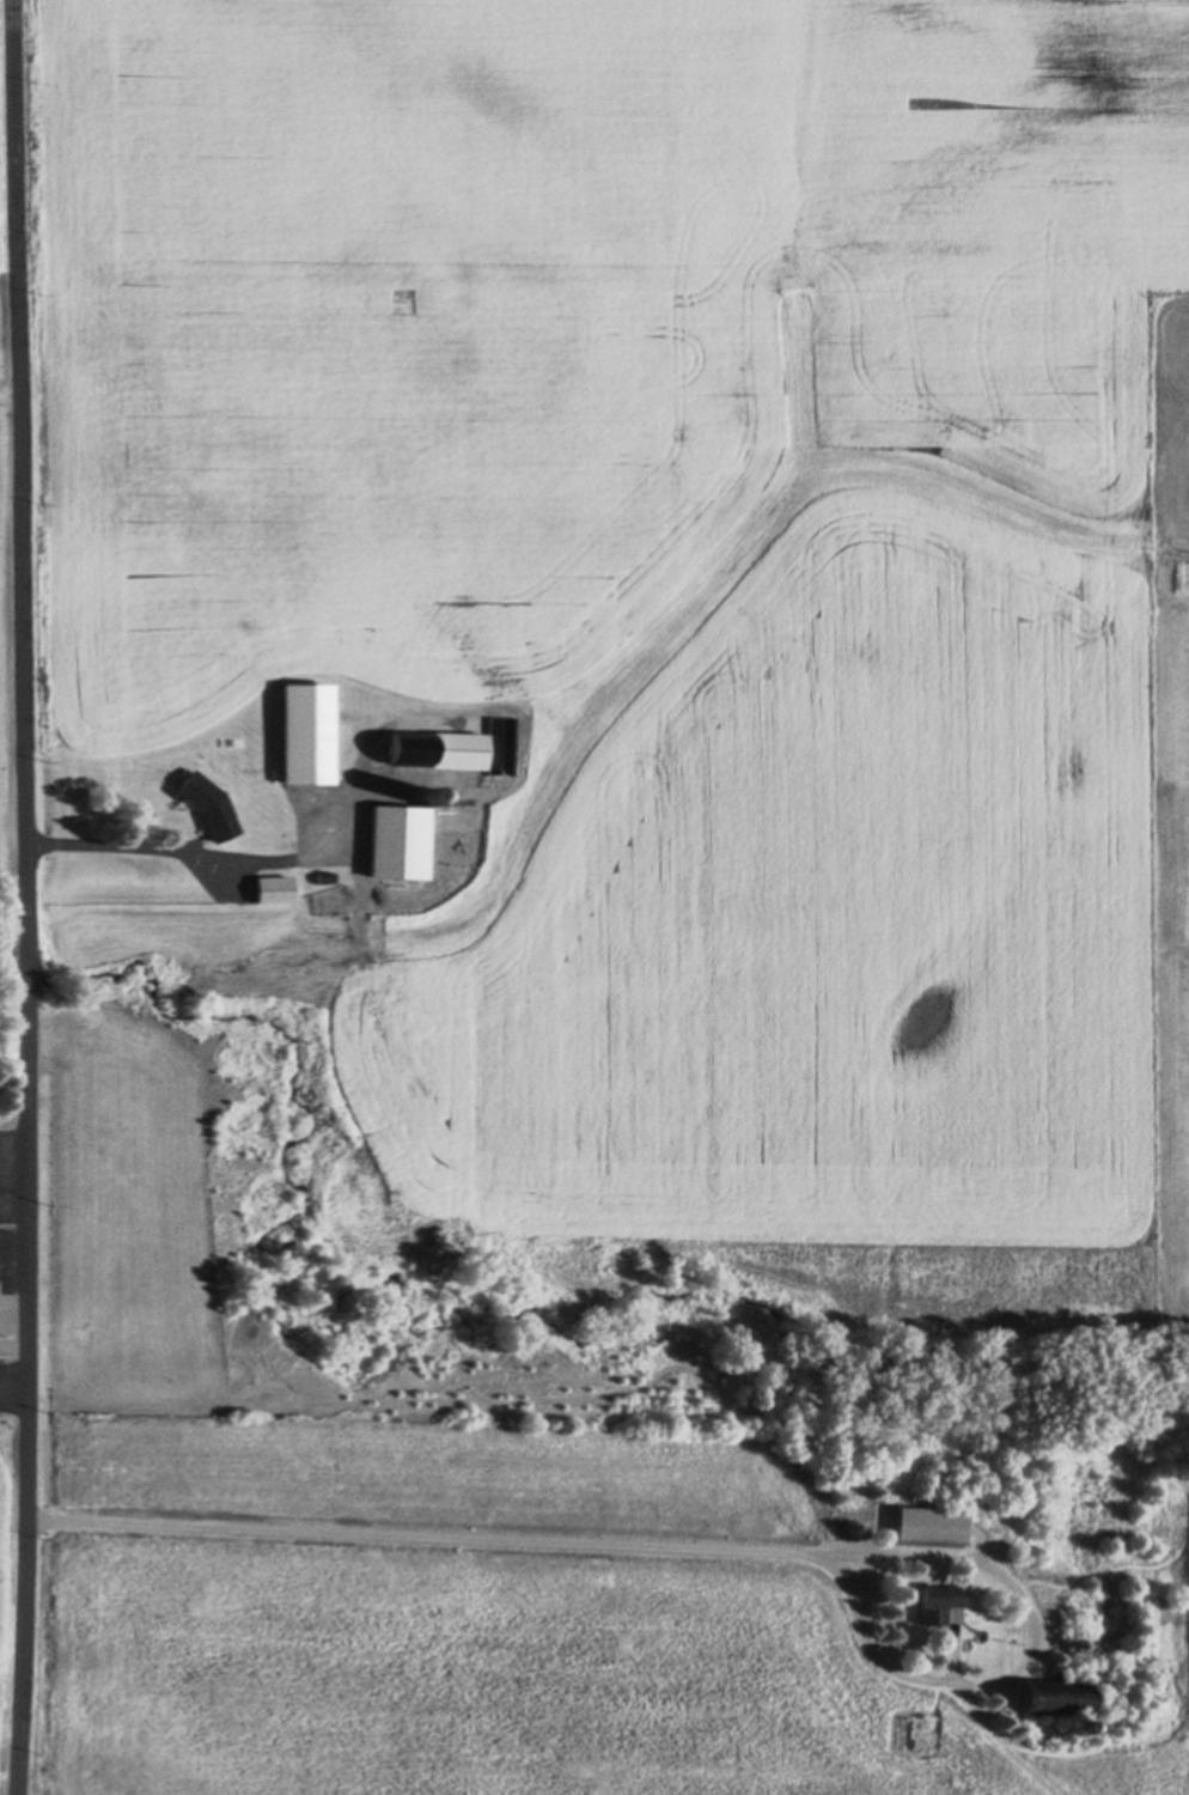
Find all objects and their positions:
road: (8, 390)
building: (300, 735)
building: (453, 753)
building: (202, 807)
building: (394, 844)
building: (269, 890)
road: (25, 898)
building: (927, 1526)
road: (523, 1538)
building: (935, 1604)
building: (1038, 1708)

